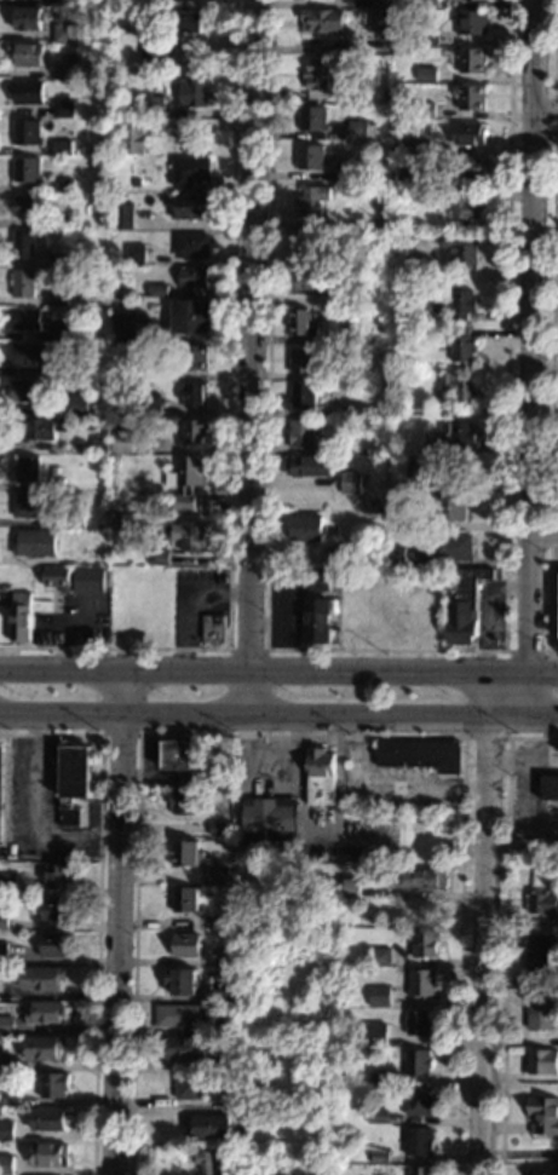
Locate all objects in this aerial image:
building: (476, 0)
building: (68, 2)
building: (153, 2)
building: (412, 2)
building: (381, 4)
building: (426, 4)
building: (27, 19)
building: (322, 19)
building: (380, 21)
building: (186, 22)
building: (471, 23)
building: (65, 34)
building: (425, 38)
building: (153, 48)
road: (554, 52)
building: (27, 54)
building: (472, 61)
building: (63, 73)
building: (426, 74)
building: (316, 75)
building: (194, 88)
building: (27, 91)
building: (386, 94)
building: (470, 97)
building: (151, 105)
building: (63, 109)
building: (424, 110)
building: (312, 119)
road: (545, 119)
road: (553, 120)
building: (357, 131)
building: (27, 132)
building: (107, 133)
building: (467, 134)
building: (132, 137)
building: (416, 145)
building: (61, 148)
building: (184, 149)
building: (310, 157)
building: (468, 167)
building: (27, 169)
building: (189, 171)
building: (346, 175)
building: (408, 177)
building: (134, 182)
building: (63, 185)
building: (312, 201)
building: (467, 205)
building: (27, 206)
building: (189, 207)
building: (122, 215)
building: (59, 223)
building: (408, 238)
building: (190, 244)
building: (23, 246)
building: (303, 247)
building: (460, 250)
building: (136, 253)
building: (346, 259)
building: (56, 261)
building: (192, 277)
building: (384, 277)
building: (305, 280)
building: (23, 283)
building: (156, 290)
building: (57, 299)
building: (460, 304)
building: (190, 317)
building: (25, 319)
building: (301, 322)
building: (122, 327)
building: (57, 332)
building: (352, 335)
building: (460, 345)
building: (29, 355)
road: (252, 357)
building: (195, 358)
building: (303, 358)
road: (530, 358)
building: (79, 371)
building: (154, 373)
building: (339, 373)
building: (458, 388)
building: (23, 390)
building: (194, 394)
building: (303, 394)
road: (551, 399)
building: (148, 404)
building: (75, 405)
building: (393, 420)
building: (42, 427)
building: (194, 432)
building: (300, 434)
building: (456, 436)
road: (229, 437)
building: (121, 442)
building: (98, 444)
building: (324, 449)
building: (306, 466)
building: (27, 468)
building: (416, 470)
building: (186, 480)
building: (350, 483)
building: (54, 484)
building: (35, 505)
building: (444, 508)
building: (74, 520)
building: (409, 523)
building: (304, 528)
building: (189, 535)
road: (543, 537)
building: (34, 542)
building: (63, 543)
building: (450, 547)
building: (338, 555)
building: (375, 557)
building: (157, 558)
building: (404, 558)
building: (56, 578)
building: (317, 578)
building: (88, 581)
building: (368, 600)
building: (461, 603)
building: (19, 617)
building: (316, 621)
building: (212, 628)
road: (385, 649)
road: (278, 672)
road: (548, 672)
road: (265, 673)
road: (97, 710)
road: (278, 715)
road: (462, 716)
building: (174, 753)
building: (416, 754)
building: (0, 770)
building: (213, 774)
building: (318, 776)
building: (70, 782)
building: (548, 787)
road: (138, 793)
building: (179, 799)
road: (33, 813)
building: (268, 822)
building: (215, 828)
road: (520, 847)
building: (183, 852)
building: (56, 875)
building: (215, 876)
building: (420, 877)
building: (6, 881)
building: (232, 881)
building: (350, 887)
building: (183, 899)
building: (541, 903)
road: (97, 905)
building: (53, 909)
building: (1, 921)
building: (258, 922)
road: (115, 923)
road: (482, 923)
building: (217, 925)
road: (504, 931)
building: (53, 944)
building: (422, 944)
building: (183, 945)
building: (2, 952)
building: (537, 954)
building: (376, 956)
road: (459, 956)
building: (228, 957)
building: (40, 978)
building: (178, 980)
building: (420, 983)
building: (230, 990)
building: (376, 996)
building: (232, 1008)
building: (539, 1010)
building: (45, 1012)
building: (177, 1015)
building: (416, 1021)
building: (5, 1024)
building: (220, 1027)
building: (373, 1035)
building: (41, 1047)
building: (182, 1047)
building: (234, 1061)
building: (415, 1061)
building: (541, 1061)
building: (379, 1079)
building: (214, 1082)
building: (51, 1083)
building: (188, 1087)
building: (8, 1098)
building: (234, 1098)
building: (418, 1101)
building: (257, 1116)
building: (375, 1116)
building: (542, 1116)
building: (47, 1119)
building: (208, 1125)
building: (5, 1130)
building: (416, 1141)
building: (47, 1153)
building: (378, 1157)
building: (209, 1162)
building: (5, 1163)
building: (419, 1170)
building: (542, 1171)

